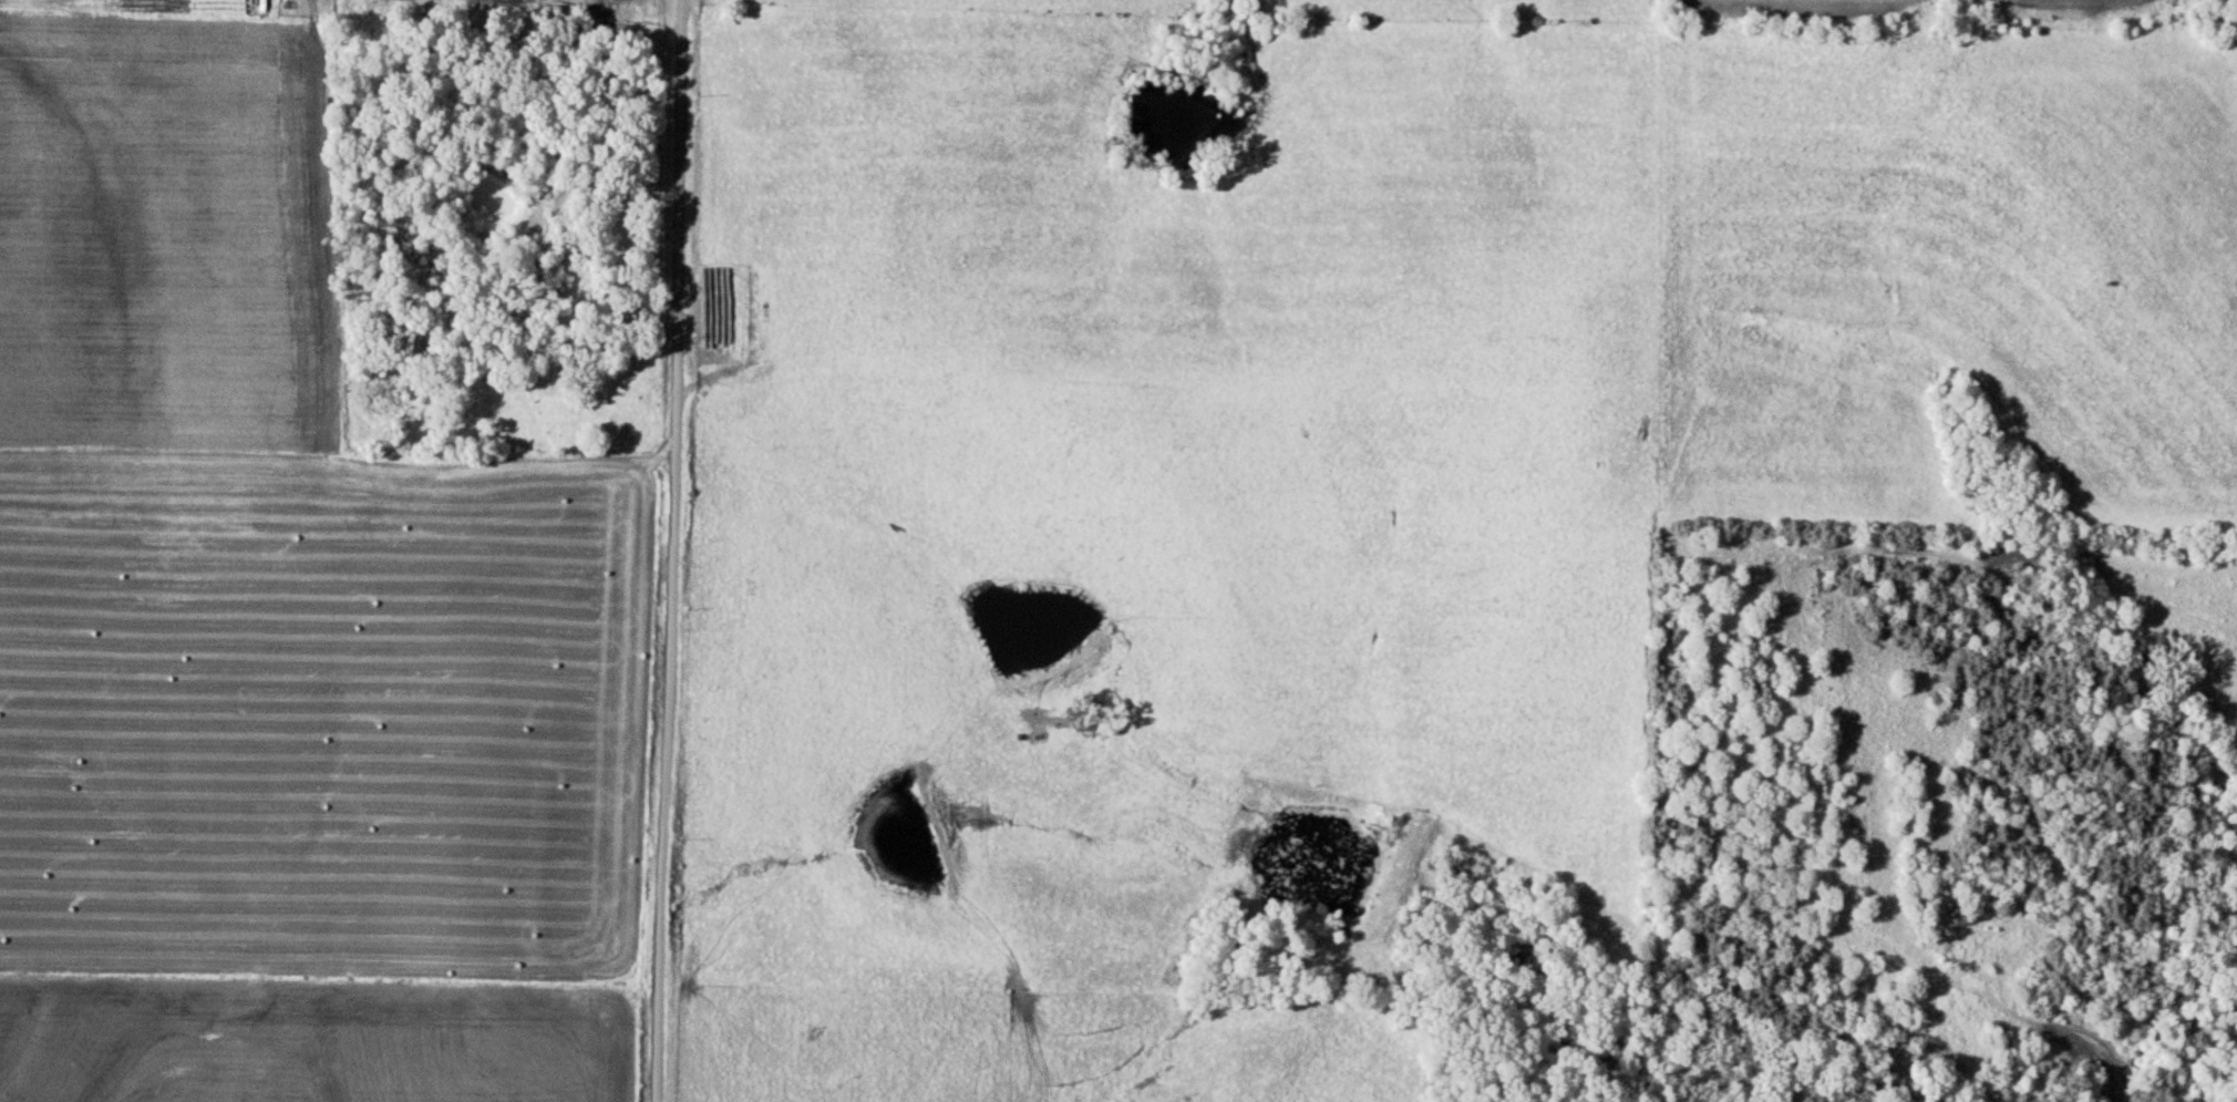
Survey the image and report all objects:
road: (671, 550)

